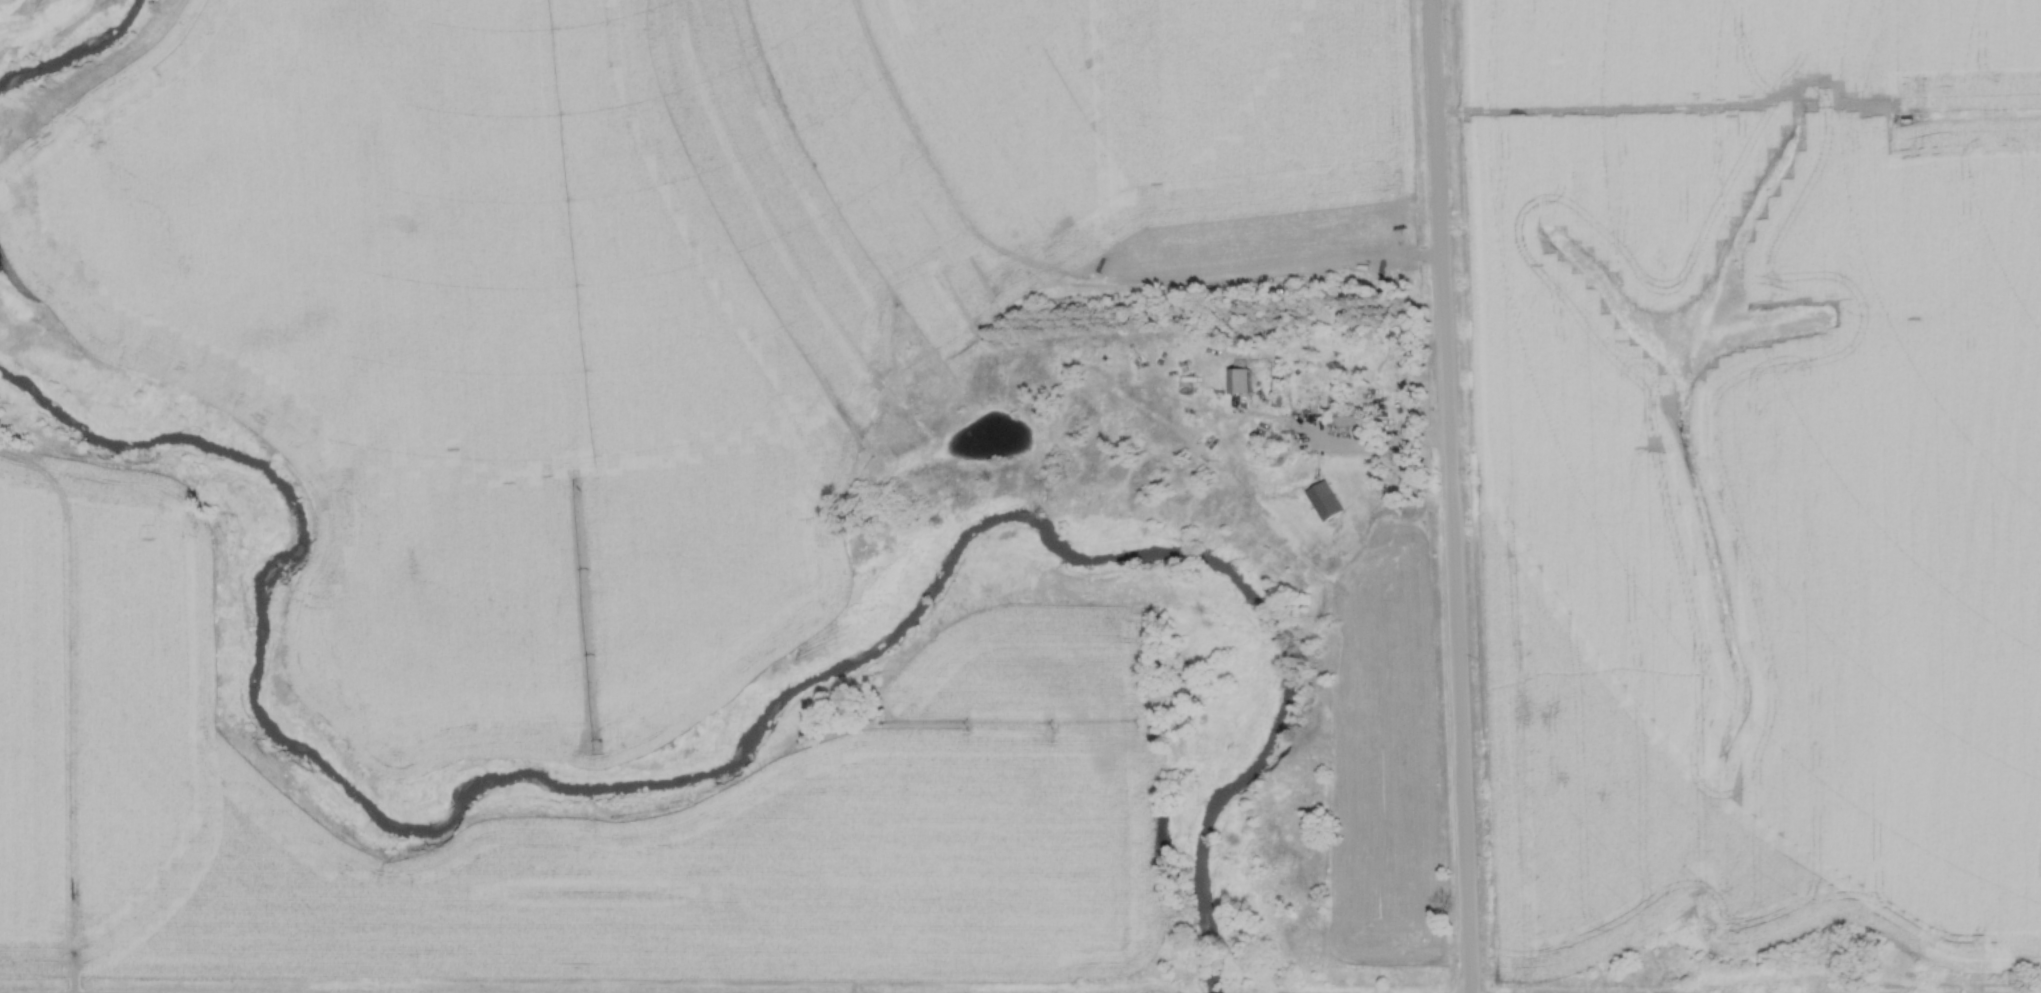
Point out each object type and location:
building: (797, 114)
building: (1239, 378)
building: (1353, 417)
road: (1374, 455)
road: (1447, 496)
building: (1329, 503)

